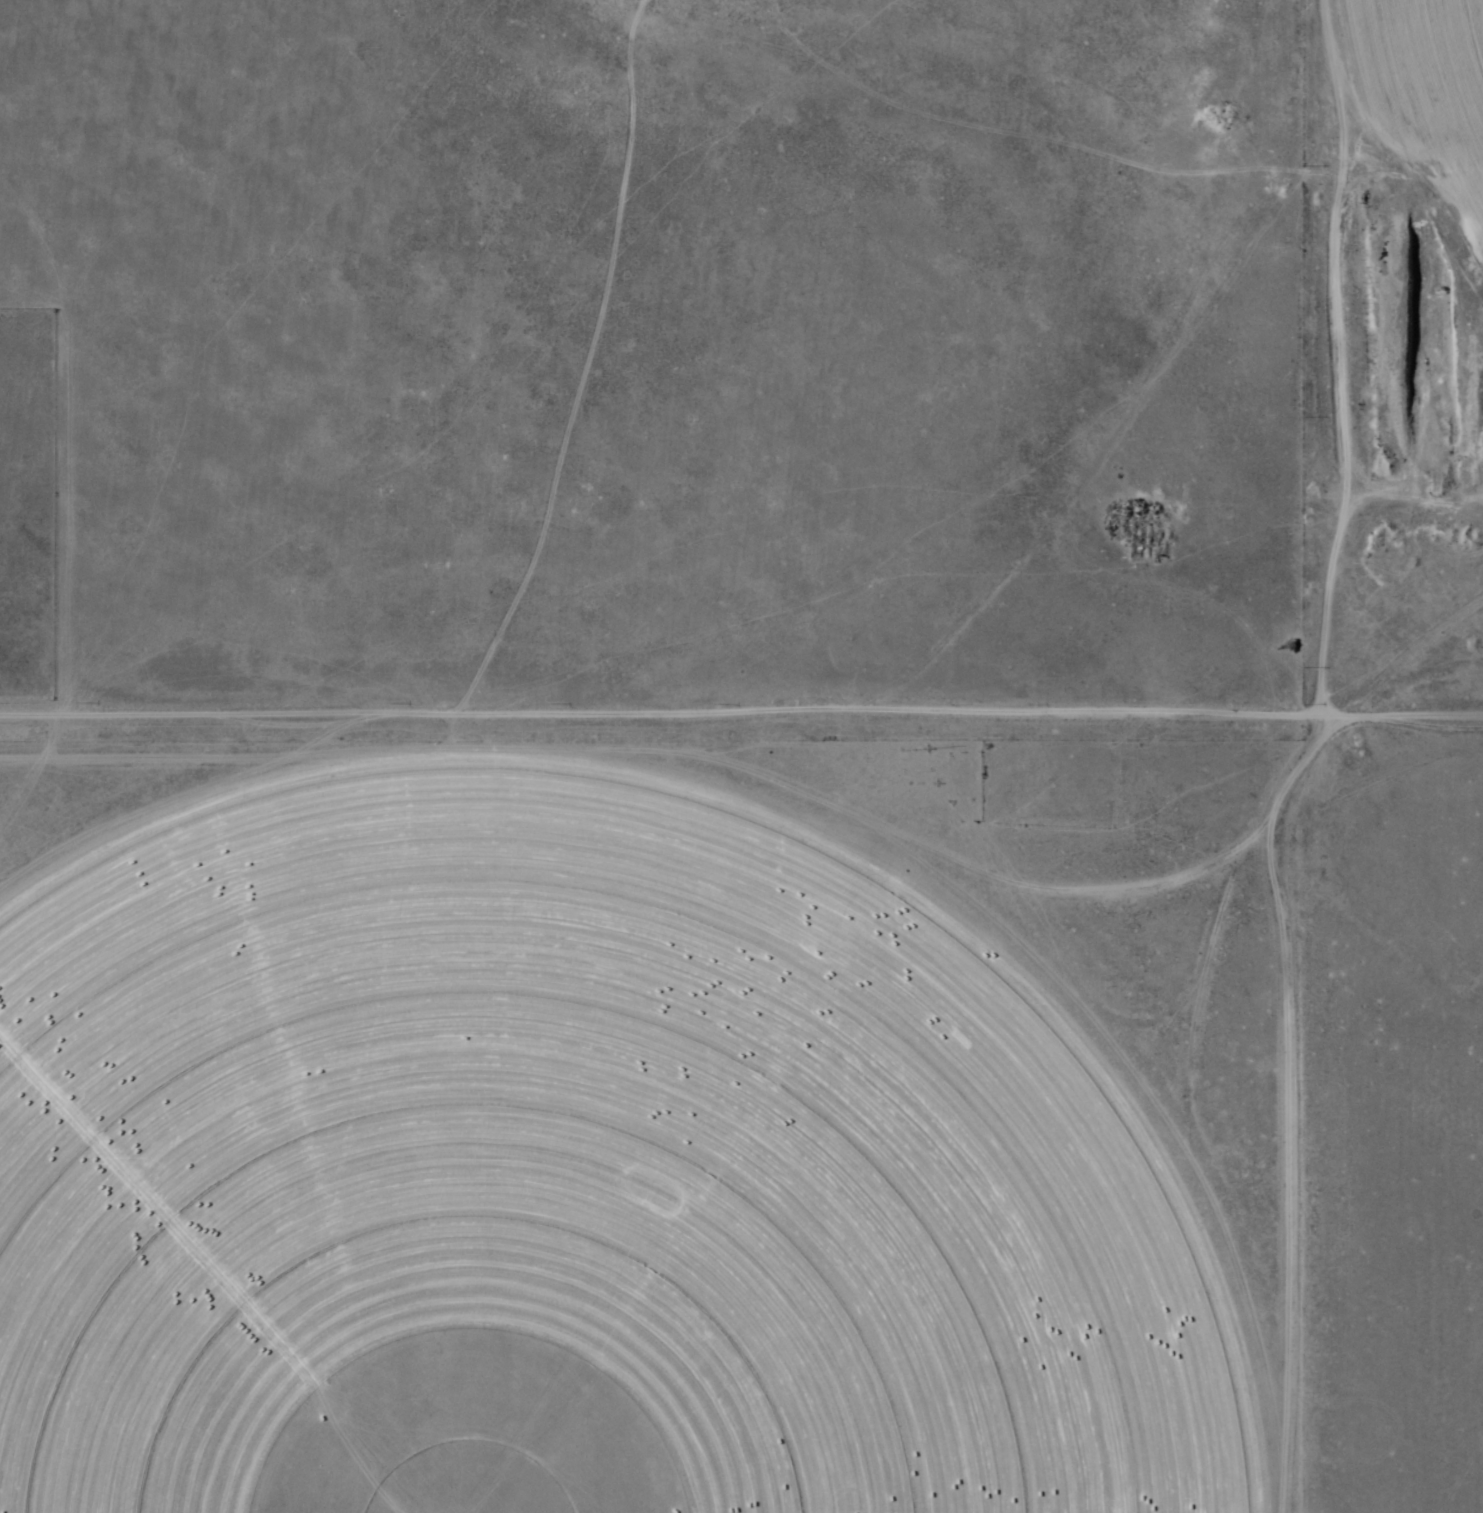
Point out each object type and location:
road: (741, 697)

